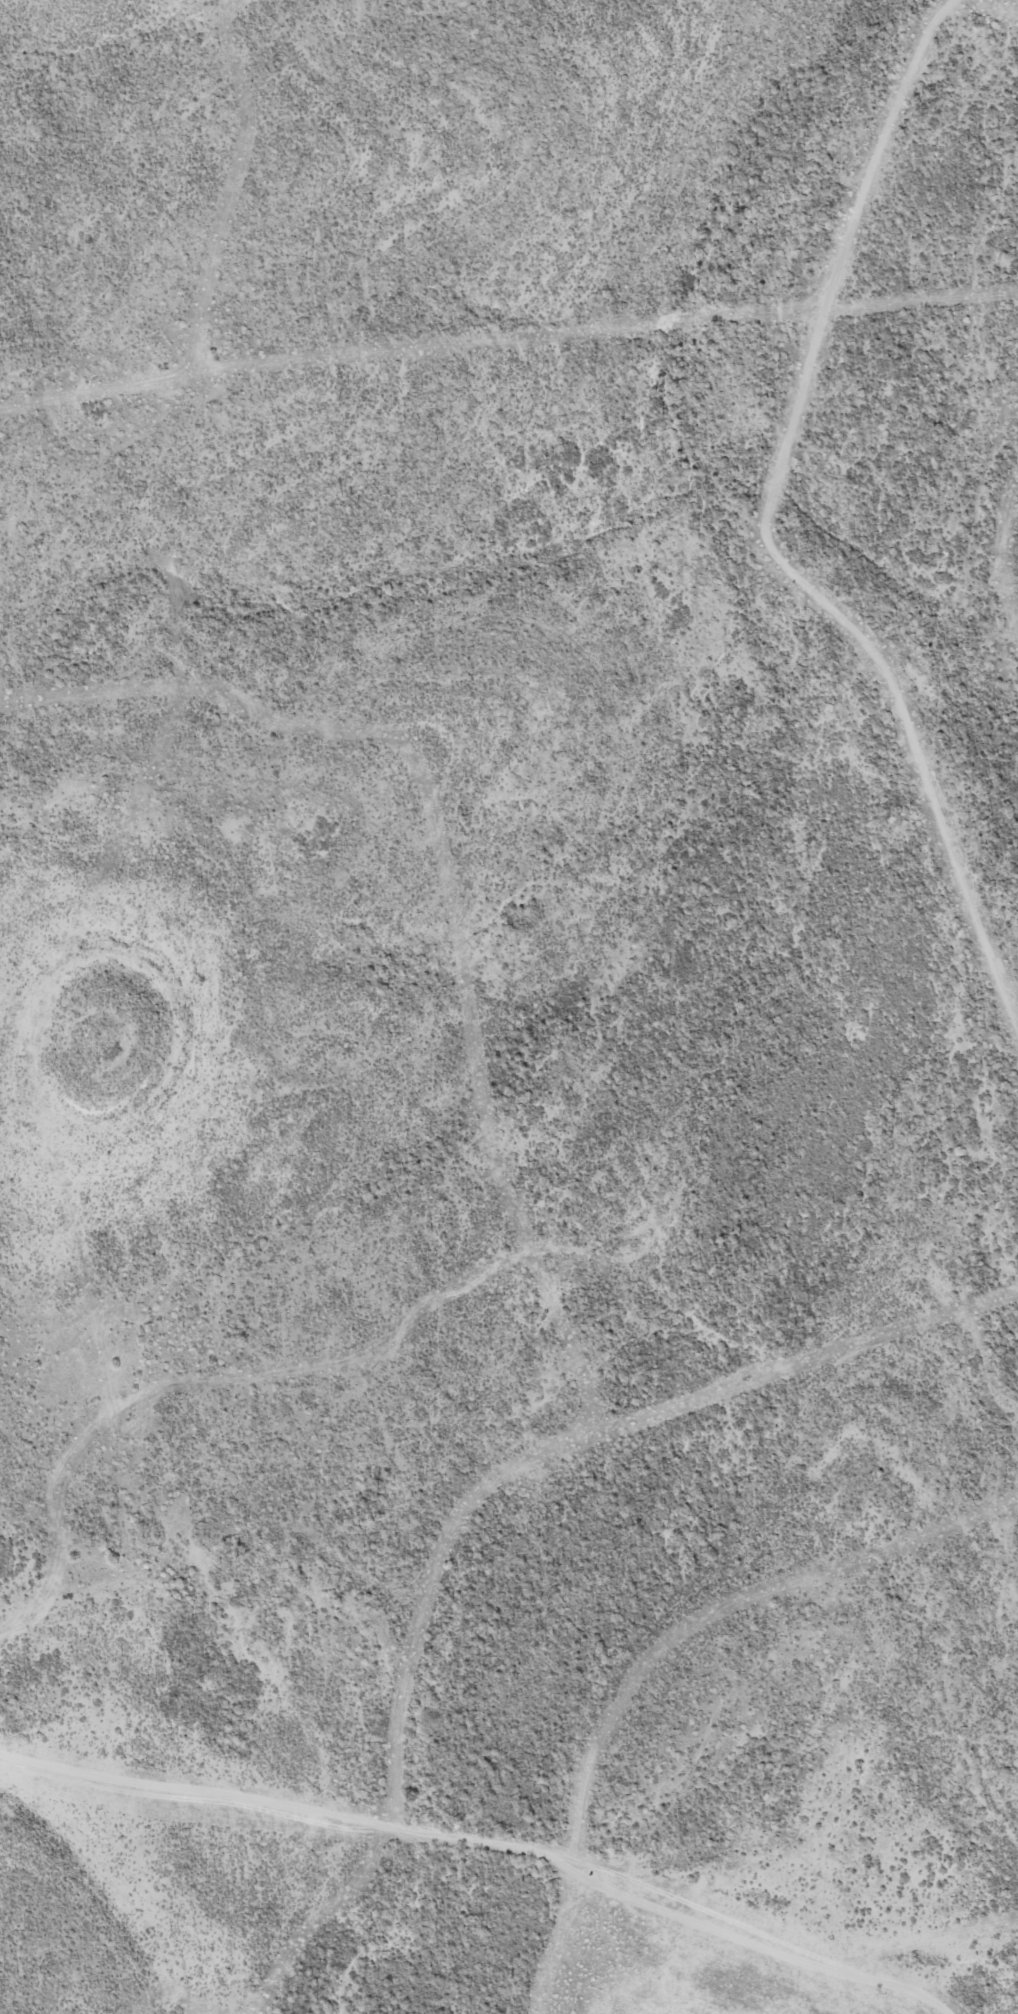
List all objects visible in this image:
road: (516, 1843)

